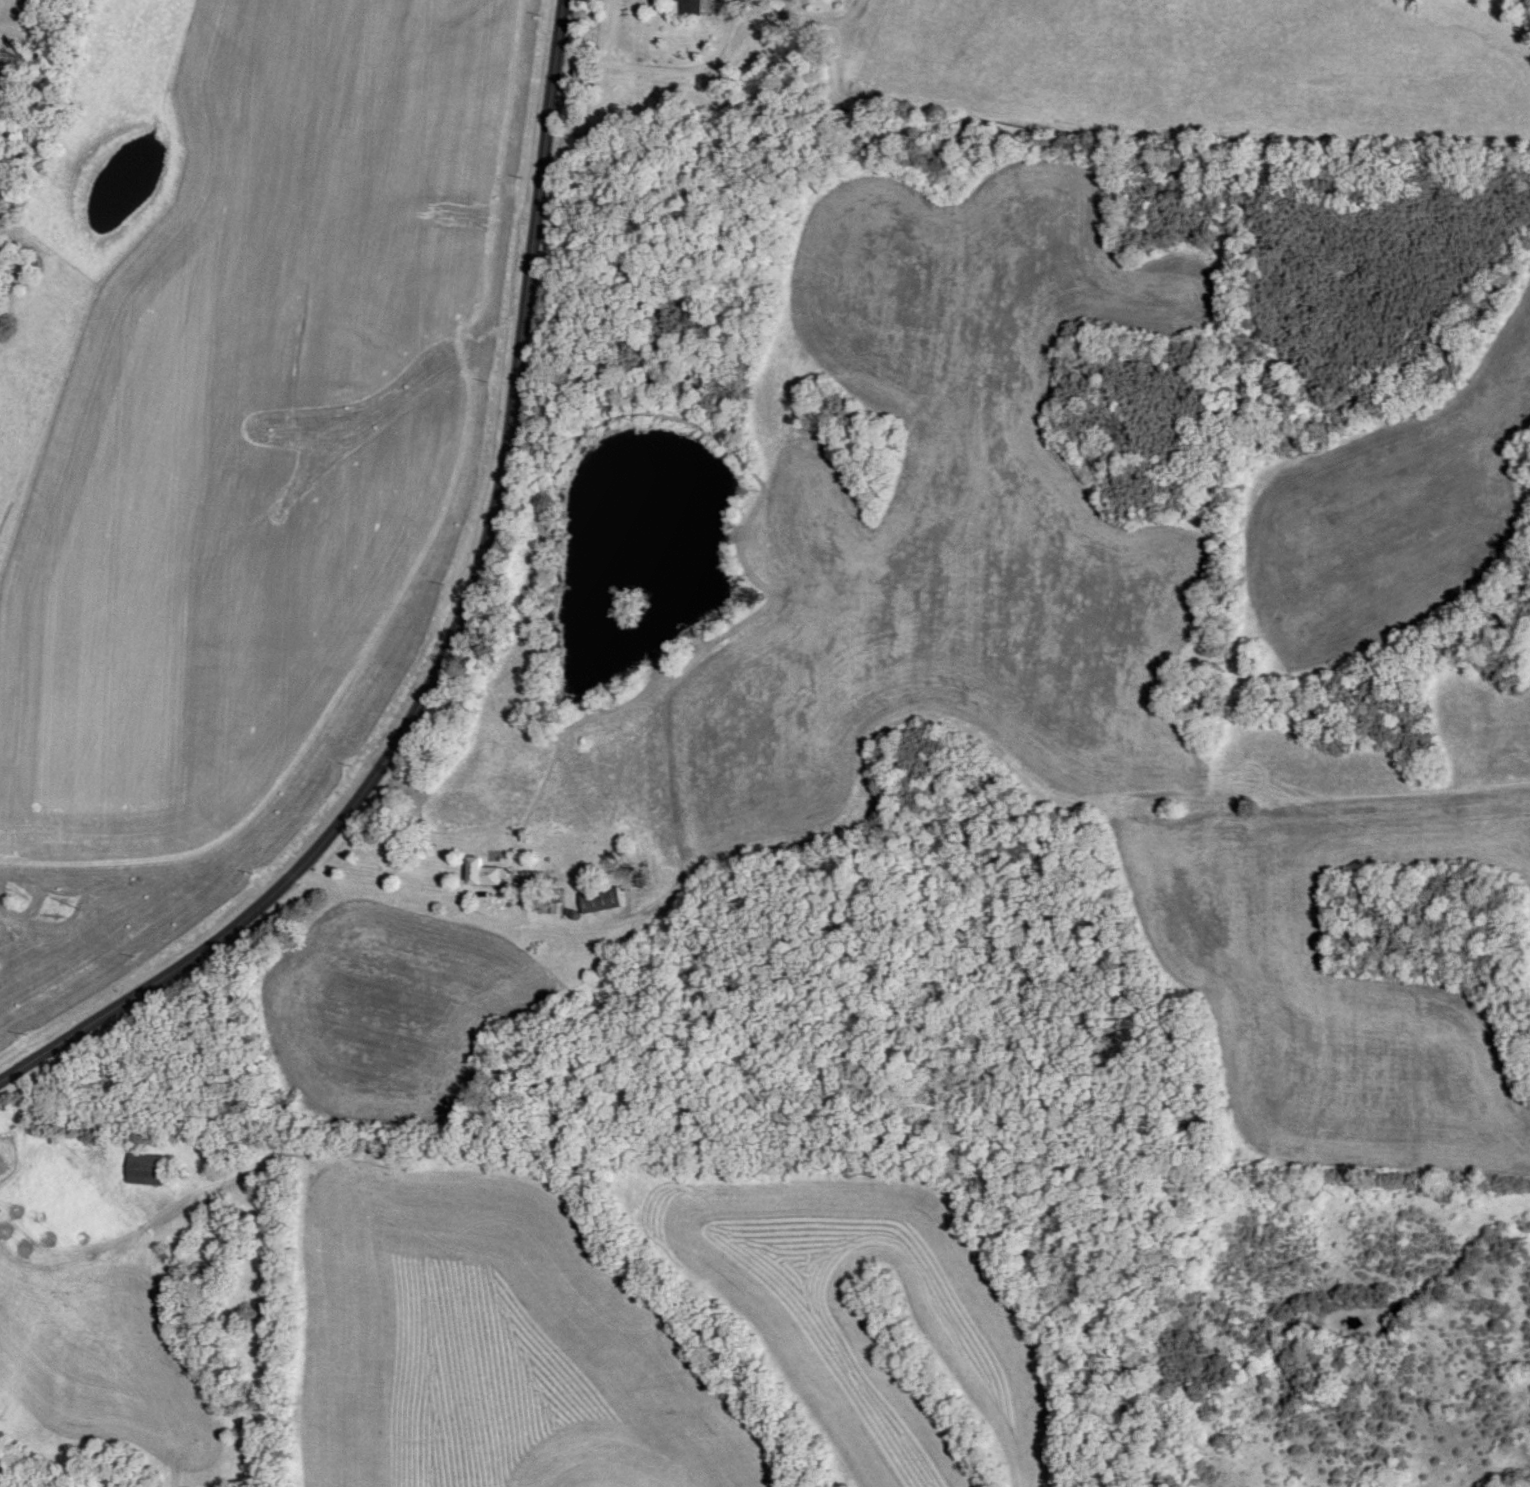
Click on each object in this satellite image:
building: (690, 7)
road: (717, 43)
road: (456, 639)
building: (482, 873)
building: (601, 901)
road: (469, 903)
building: (145, 1170)

